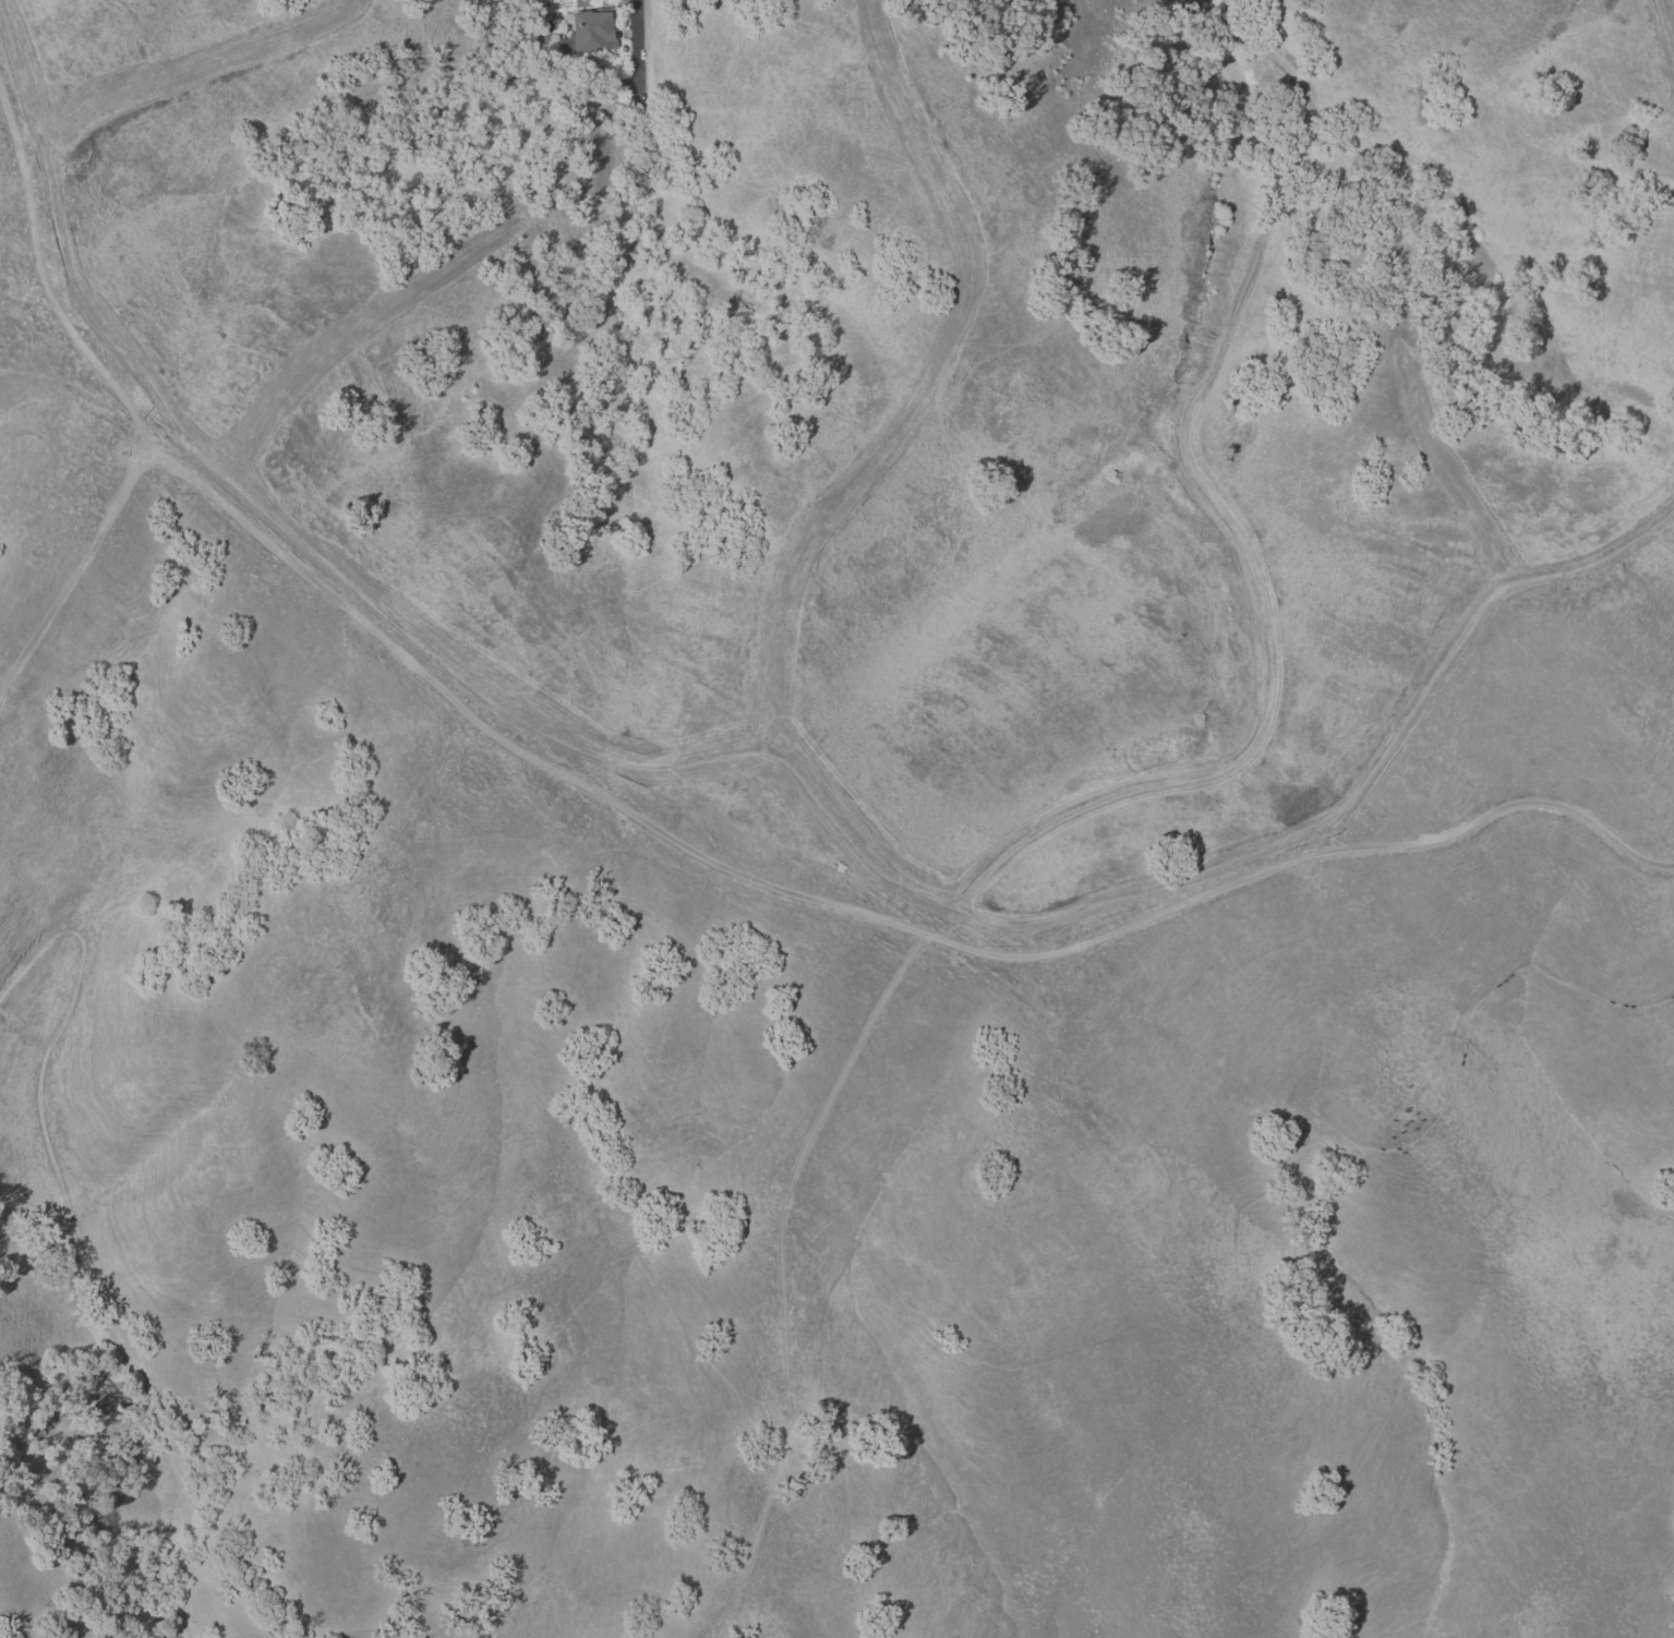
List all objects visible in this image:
road: (1197, 3)
building: (590, 32)
road: (636, 48)
road: (201, 59)
road: (348, 330)
road: (79, 575)
road: (682, 847)
road: (863, 848)
road: (75, 1236)

